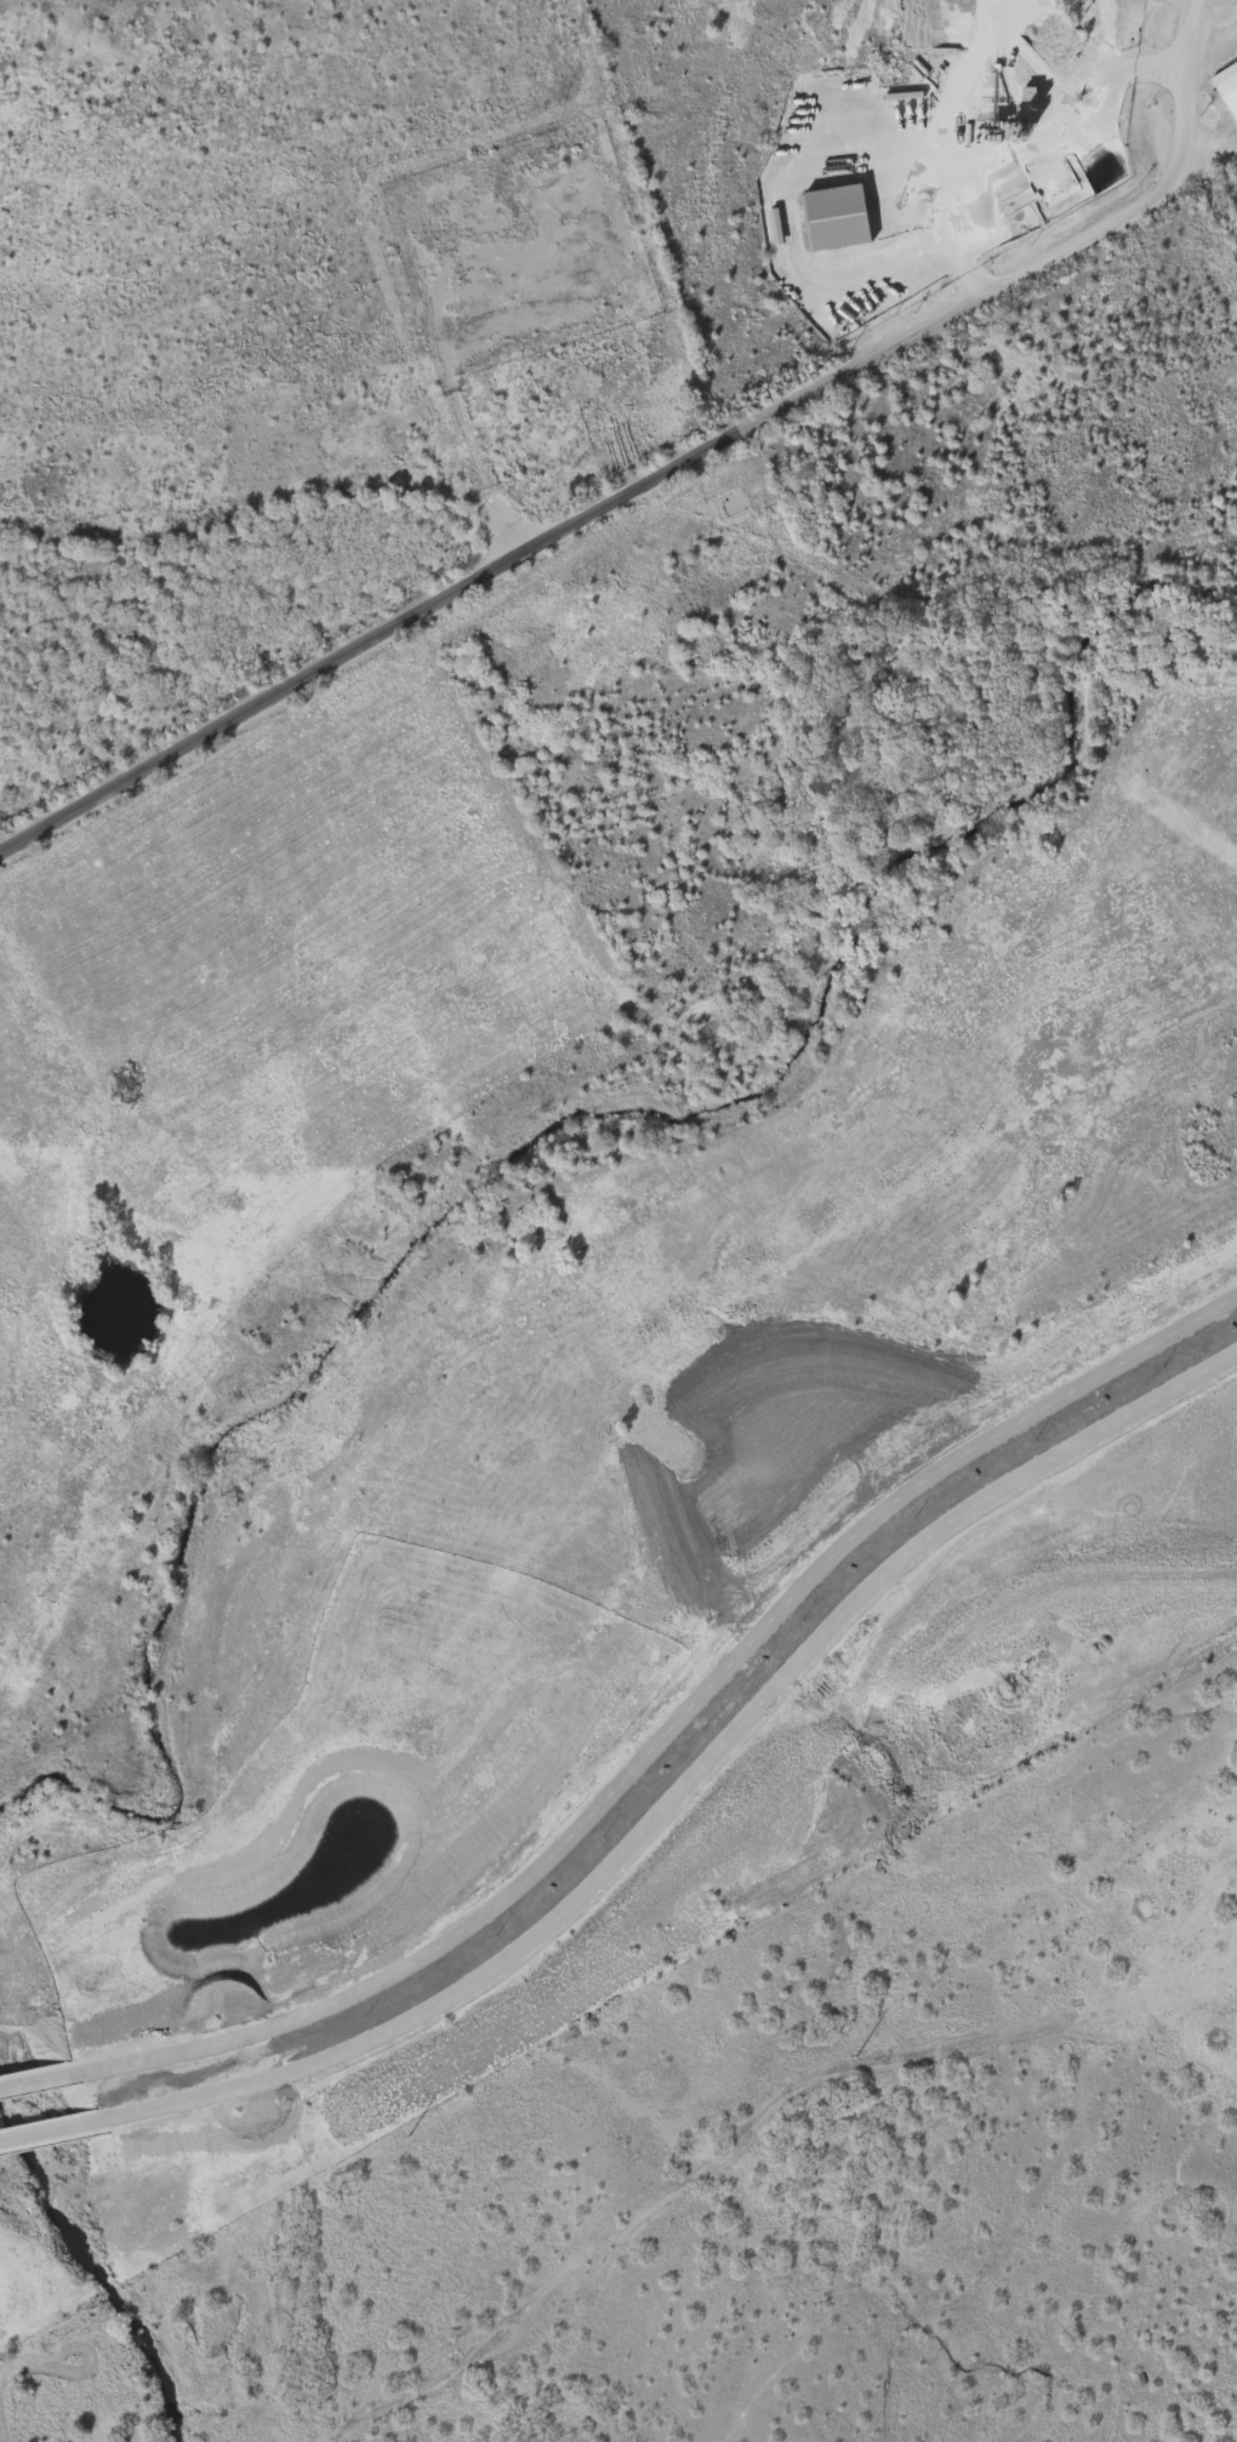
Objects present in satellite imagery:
road: (1214, 44)
building: (1229, 84)
building: (837, 218)
road: (675, 484)
road: (677, 1718)
road: (688, 1776)
road: (42, 2079)
road: (47, 2127)

